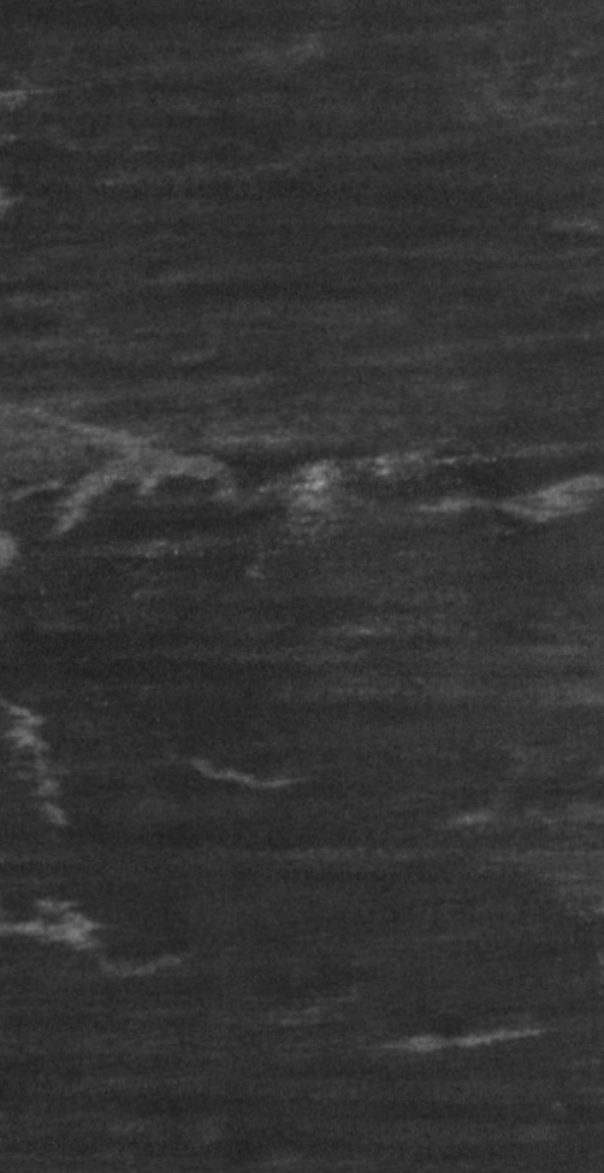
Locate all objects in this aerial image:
crop: (301, 225)
crop: (302, 812)

